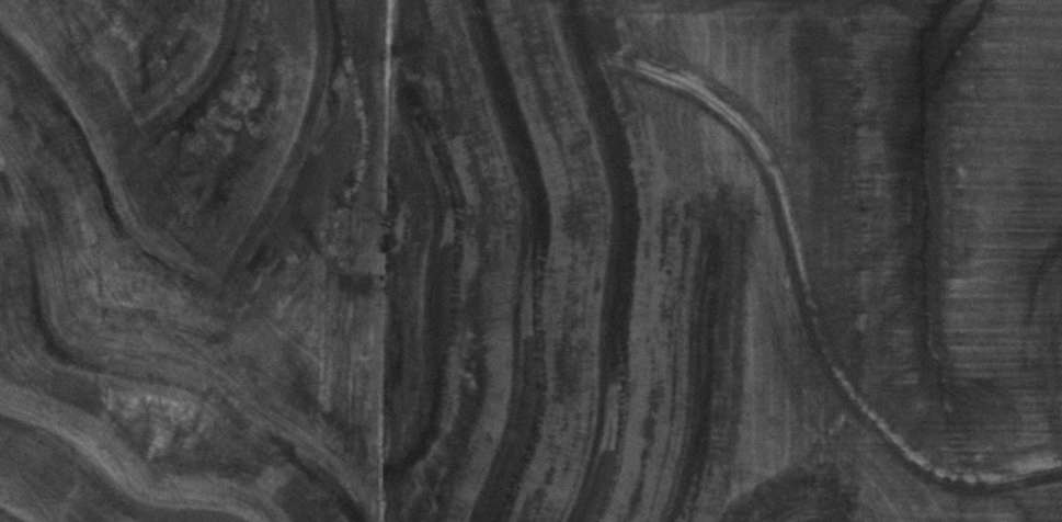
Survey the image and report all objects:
crop: (722, 261)

